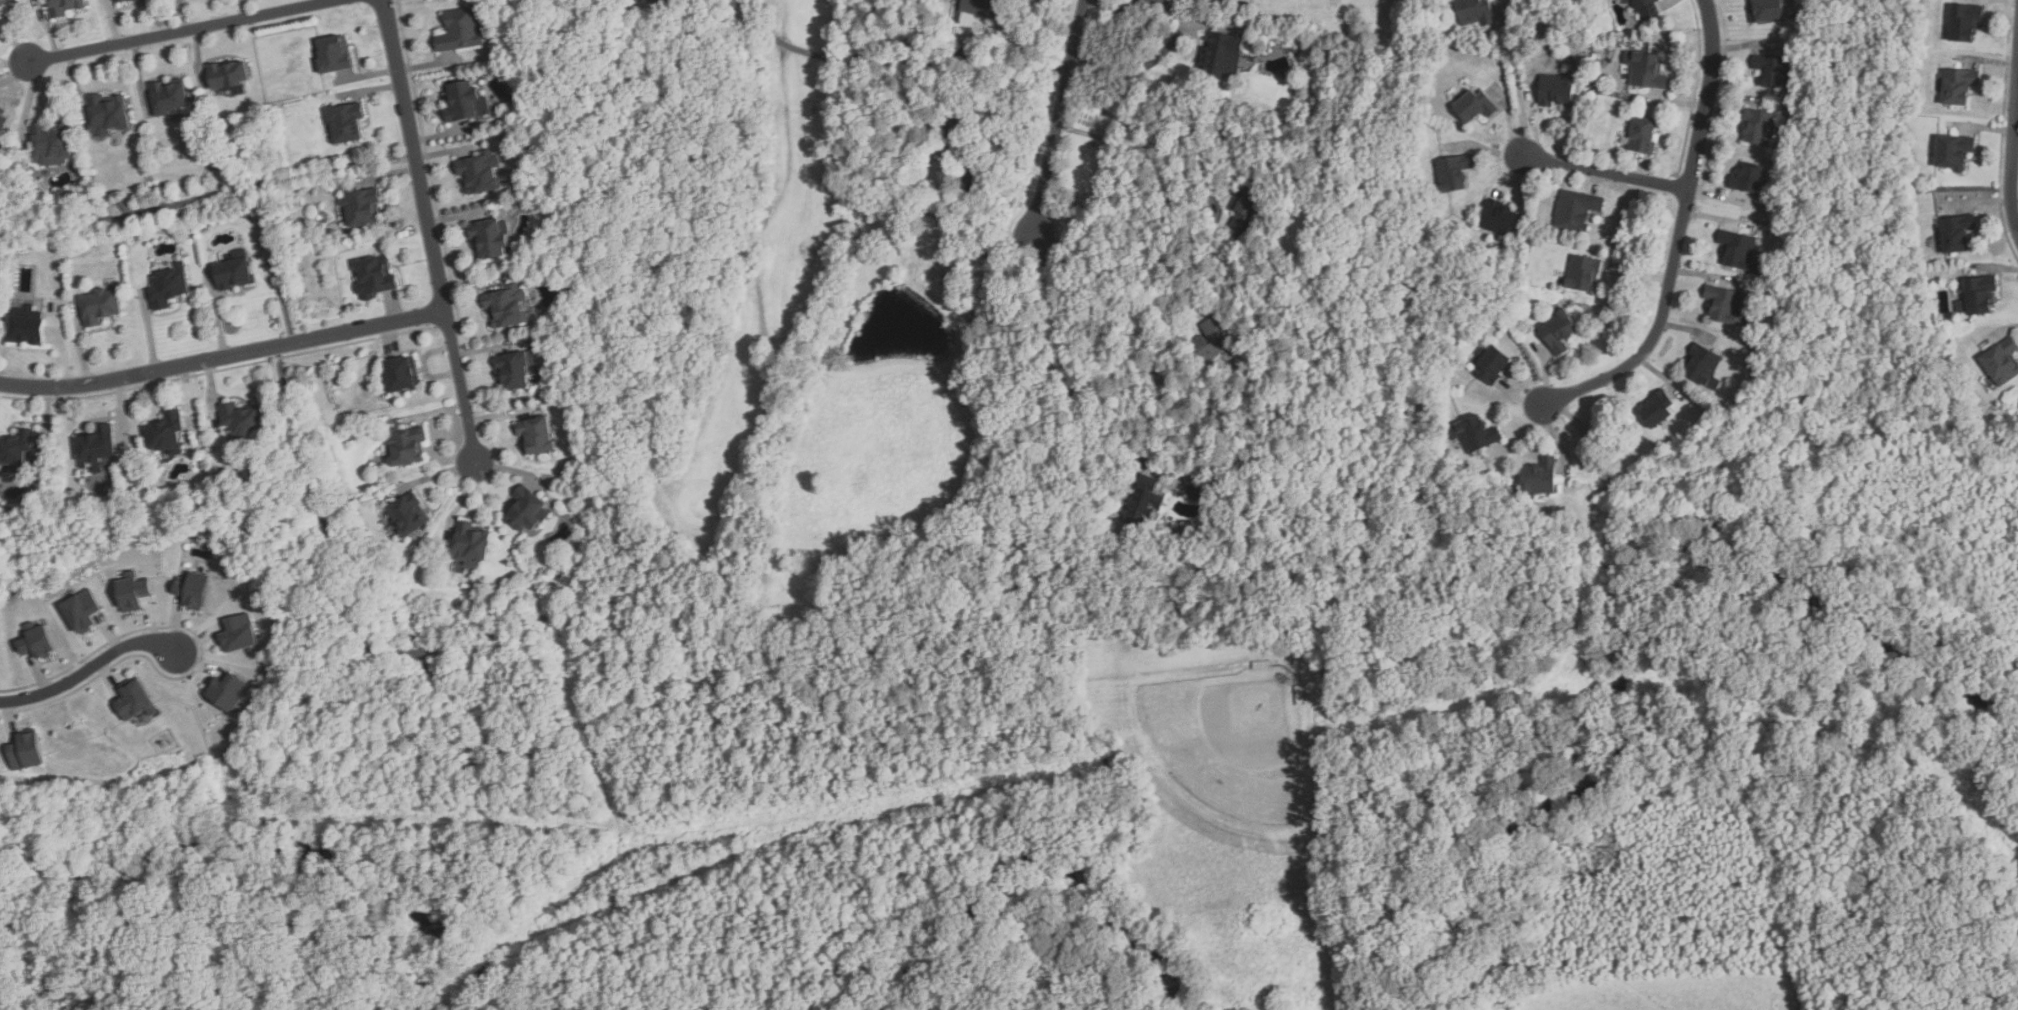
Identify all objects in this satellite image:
building: (125, 1)
building: (656, 2)
building: (6, 3)
building: (63, 7)
building: (987, 8)
road: (247, 9)
building: (1646, 9)
building: (1475, 12)
building: (1766, 13)
building: (1965, 22)
road: (187, 30)
building: (461, 30)
road: (1186, 30)
building: (333, 55)
building: (1222, 55)
road: (840, 56)
road: (1017, 65)
building: (1773, 70)
building: (1648, 71)
building: (228, 76)
road: (1518, 82)
building: (1958, 86)
building: (1557, 90)
building: (169, 98)
building: (461, 101)
building: (1475, 106)
building: (109, 115)
road: (1060, 116)
building: (3, 118)
building: (344, 124)
building: (1760, 128)
building: (956, 135)
building: (1643, 135)
building: (50, 144)
road: (1129, 145)
building: (1954, 152)
road: (2012, 155)
road: (1606, 171)
building: (1453, 173)
building: (480, 174)
building: (1748, 177)
road: (263, 188)
building: (1249, 205)
building: (362, 208)
building: (1576, 210)
road: (131, 214)
building: (1499, 219)
road: (950, 228)
road: (428, 230)
road: (1679, 234)
building: (1956, 234)
road: (1134, 239)
building: (489, 240)
building: (1737, 249)
building: (1582, 274)
building: (233, 275)
building: (374, 277)
building: (168, 287)
building: (1979, 295)
building: (1726, 306)
building: (99, 307)
building: (507, 307)
building: (974, 314)
building: (25, 331)
building: (1557, 331)
building: (1218, 338)
road: (1062, 352)
road: (223, 358)
building: (2001, 362)
building: (1493, 364)
building: (1703, 367)
building: (515, 371)
building: (400, 375)
building: (1657, 410)
building: (242, 419)
building: (165, 431)
building: (1474, 435)
building: (536, 437)
building: (96, 443)
building: (406, 446)
building: (16, 448)
building: (1540, 477)
building: (1197, 493)
building: (1145, 502)
building: (526, 510)
building: (406, 513)
river: (1706, 523)
building: (471, 543)
river: (1613, 574)
building: (192, 590)
building: (133, 591)
building: (81, 611)
road: (533, 621)
building: (238, 633)
river: (1857, 635)
building: (38, 641)
road: (90, 669)
building: (227, 692)
building: (135, 701)
river: (1607, 707)
building: (145, 718)
building: (27, 751)
river: (297, 837)
river: (1488, 853)
river: (1077, 868)
river: (955, 897)
river: (1121, 937)

